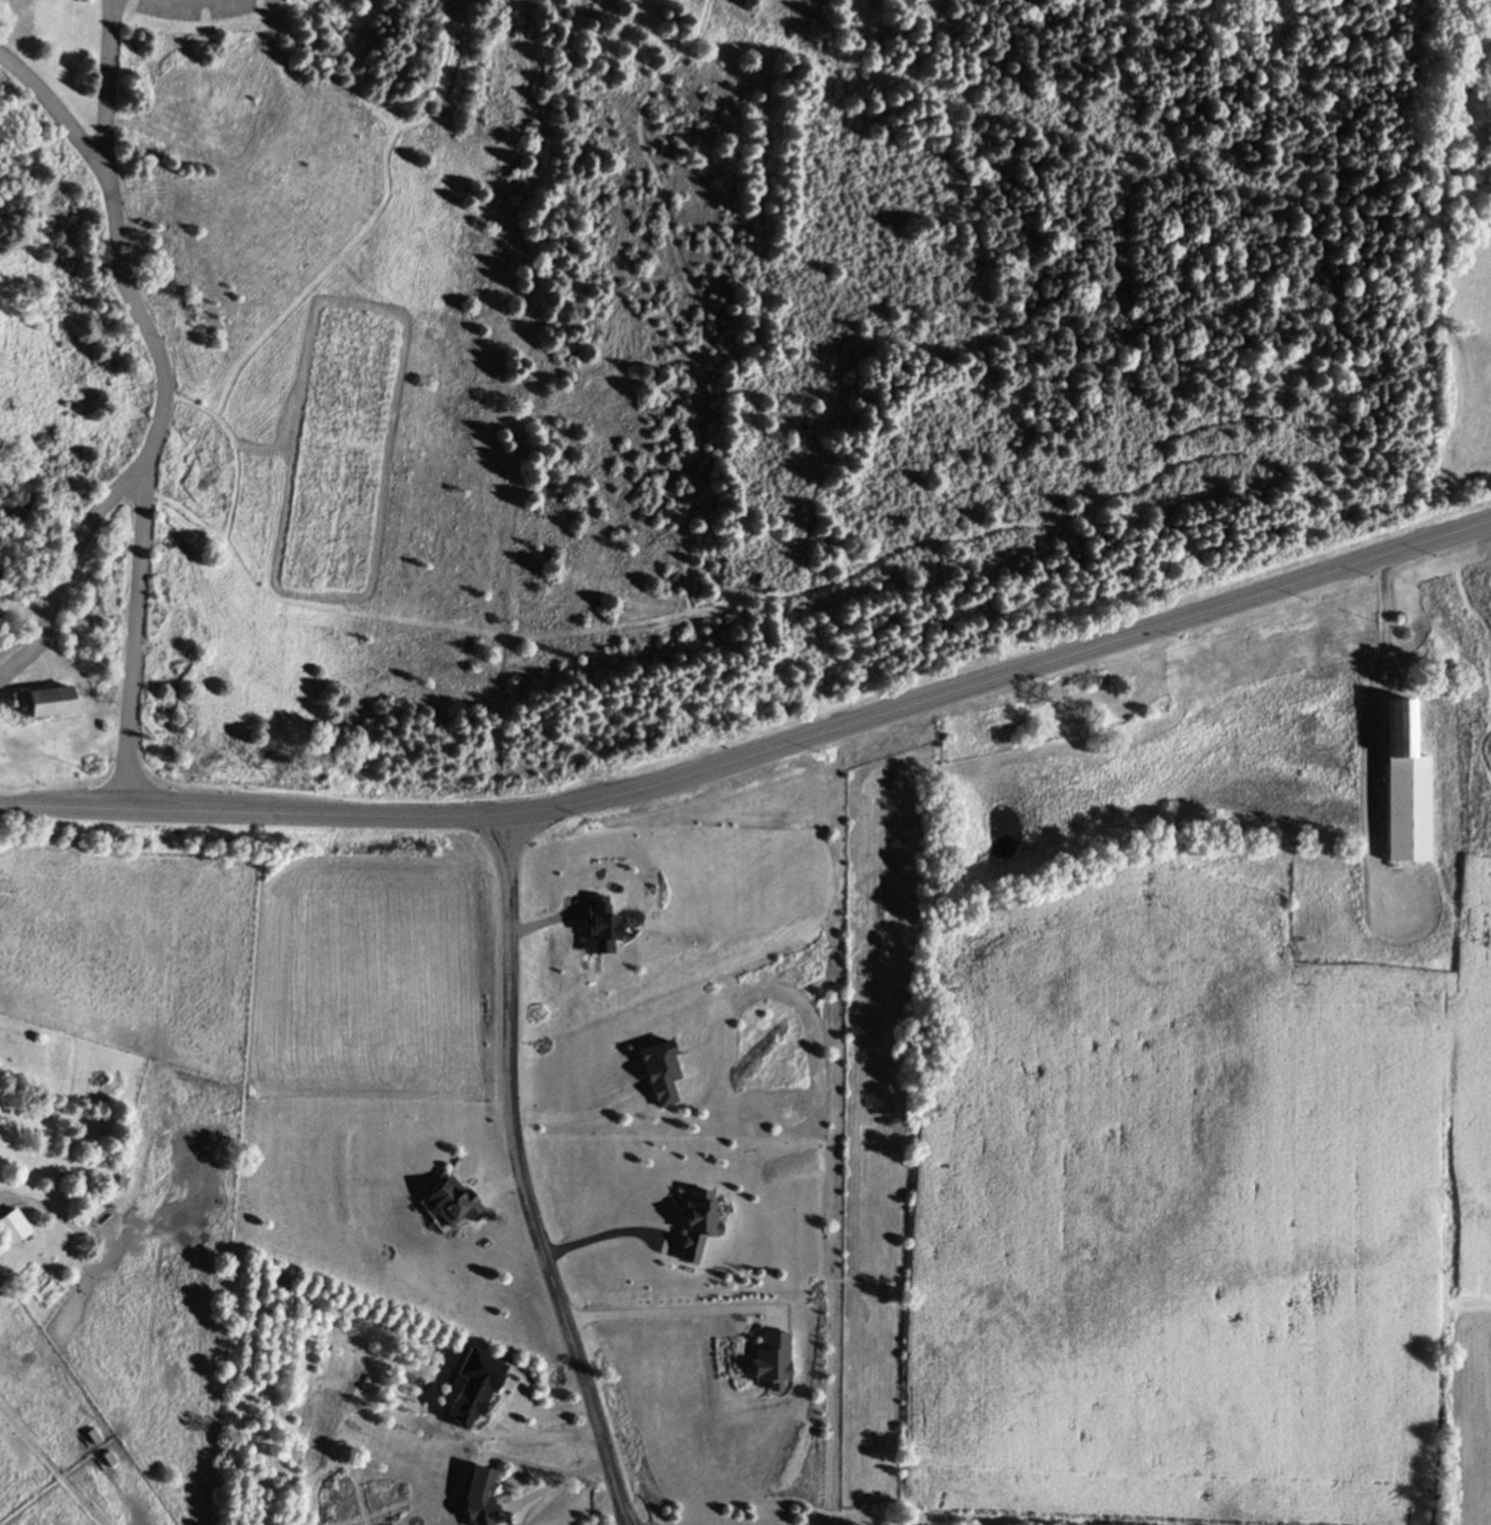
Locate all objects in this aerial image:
parking lot: (202, 8)
road: (51, 110)
road: (161, 358)
building: (0, 568)
building: (1490, 587)
road: (1394, 624)
building: (1343, 632)
road: (133, 639)
park: (1462, 693)
building: (44, 700)
building: (1456, 750)
building: (1052, 759)
road: (758, 765)
building: (1405, 784)
building: (661, 1075)
road: (575, 1115)
road: (521, 1184)
building: (452, 1200)
building: (12, 1230)
road: (600, 1234)
road: (664, 1310)
road: (554, 1482)
building: (482, 1497)

